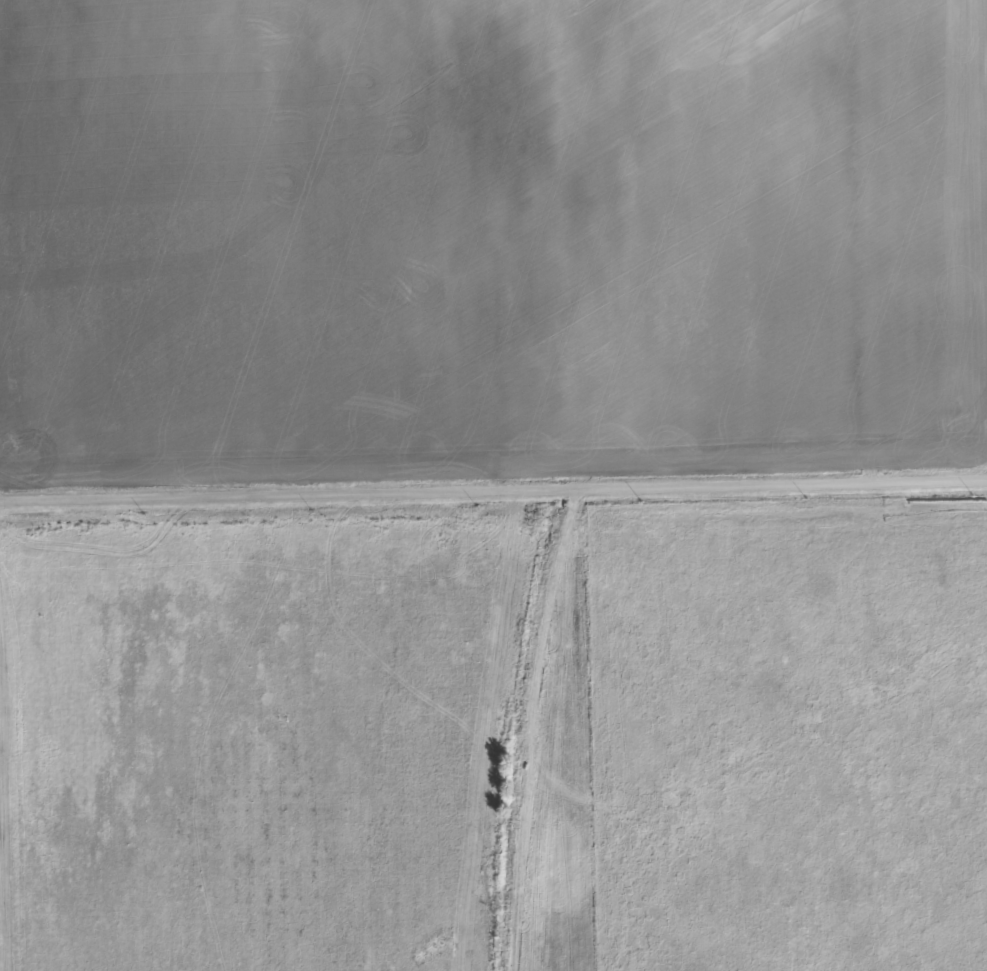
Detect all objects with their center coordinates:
road: (493, 491)

